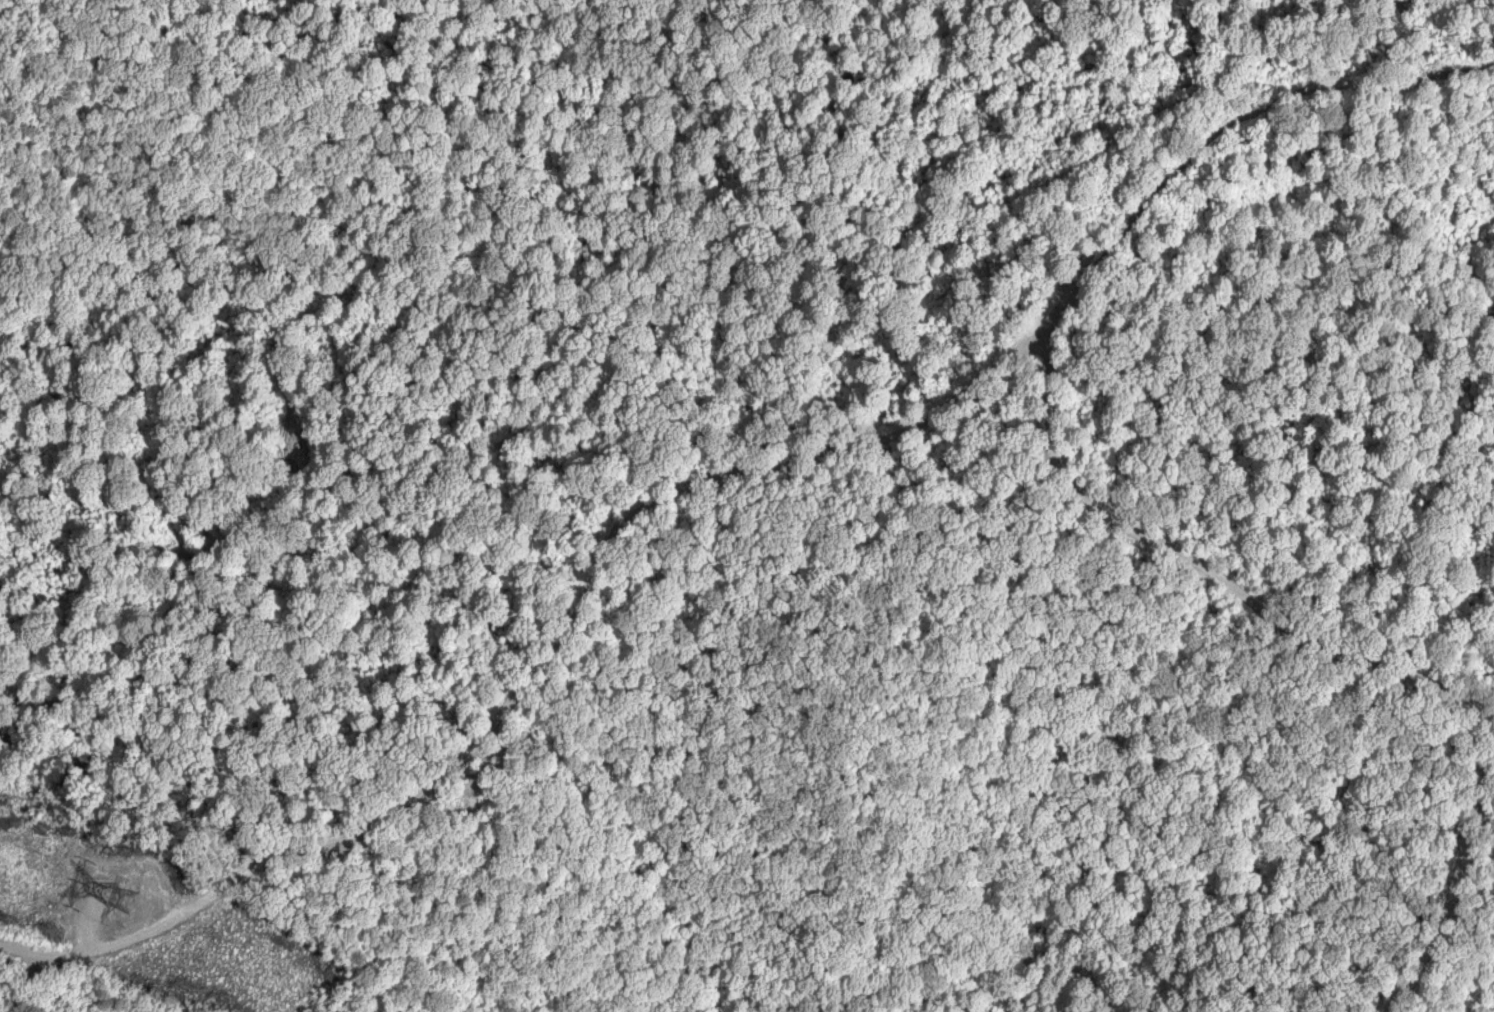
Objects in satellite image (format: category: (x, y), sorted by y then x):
road: (729, 457)
road: (1088, 582)

